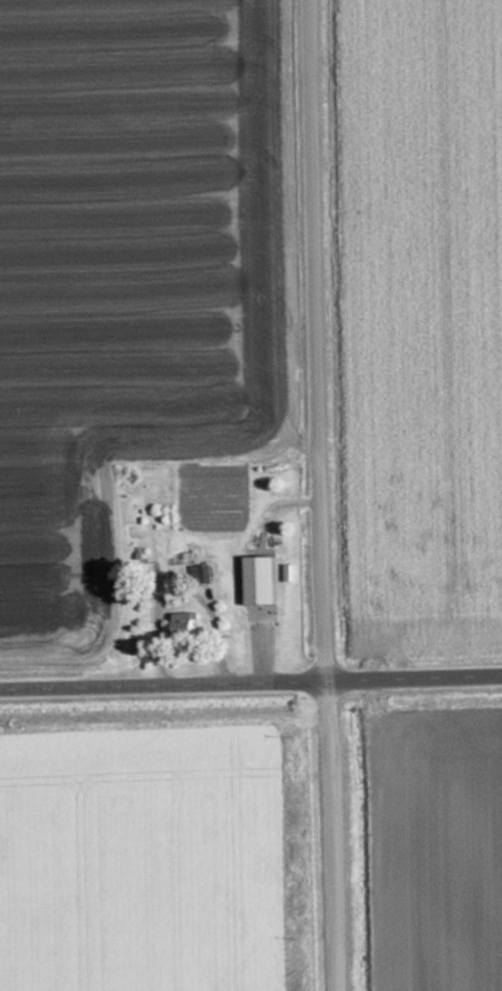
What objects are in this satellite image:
road: (327, 495)
building: (203, 574)
building: (262, 579)
building: (186, 622)
road: (251, 674)

